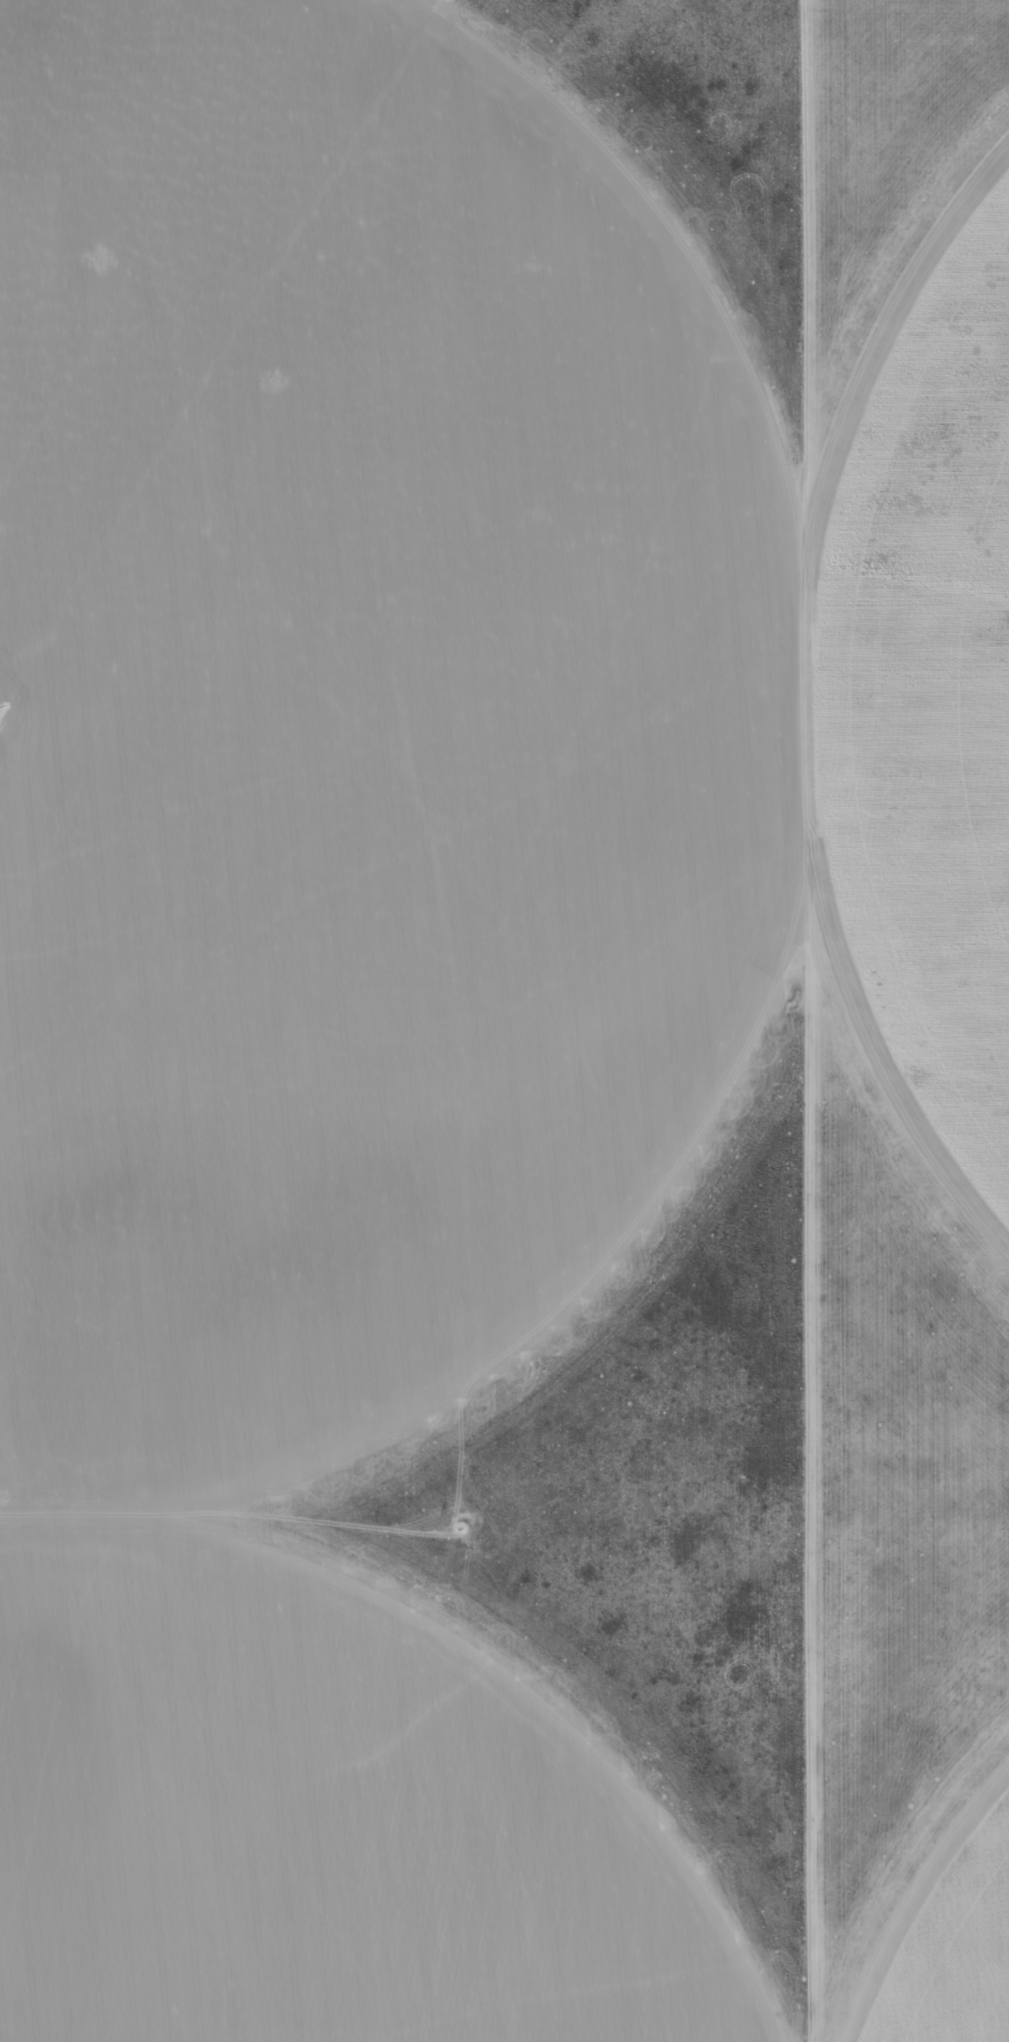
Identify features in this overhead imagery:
road: (819, 1021)

